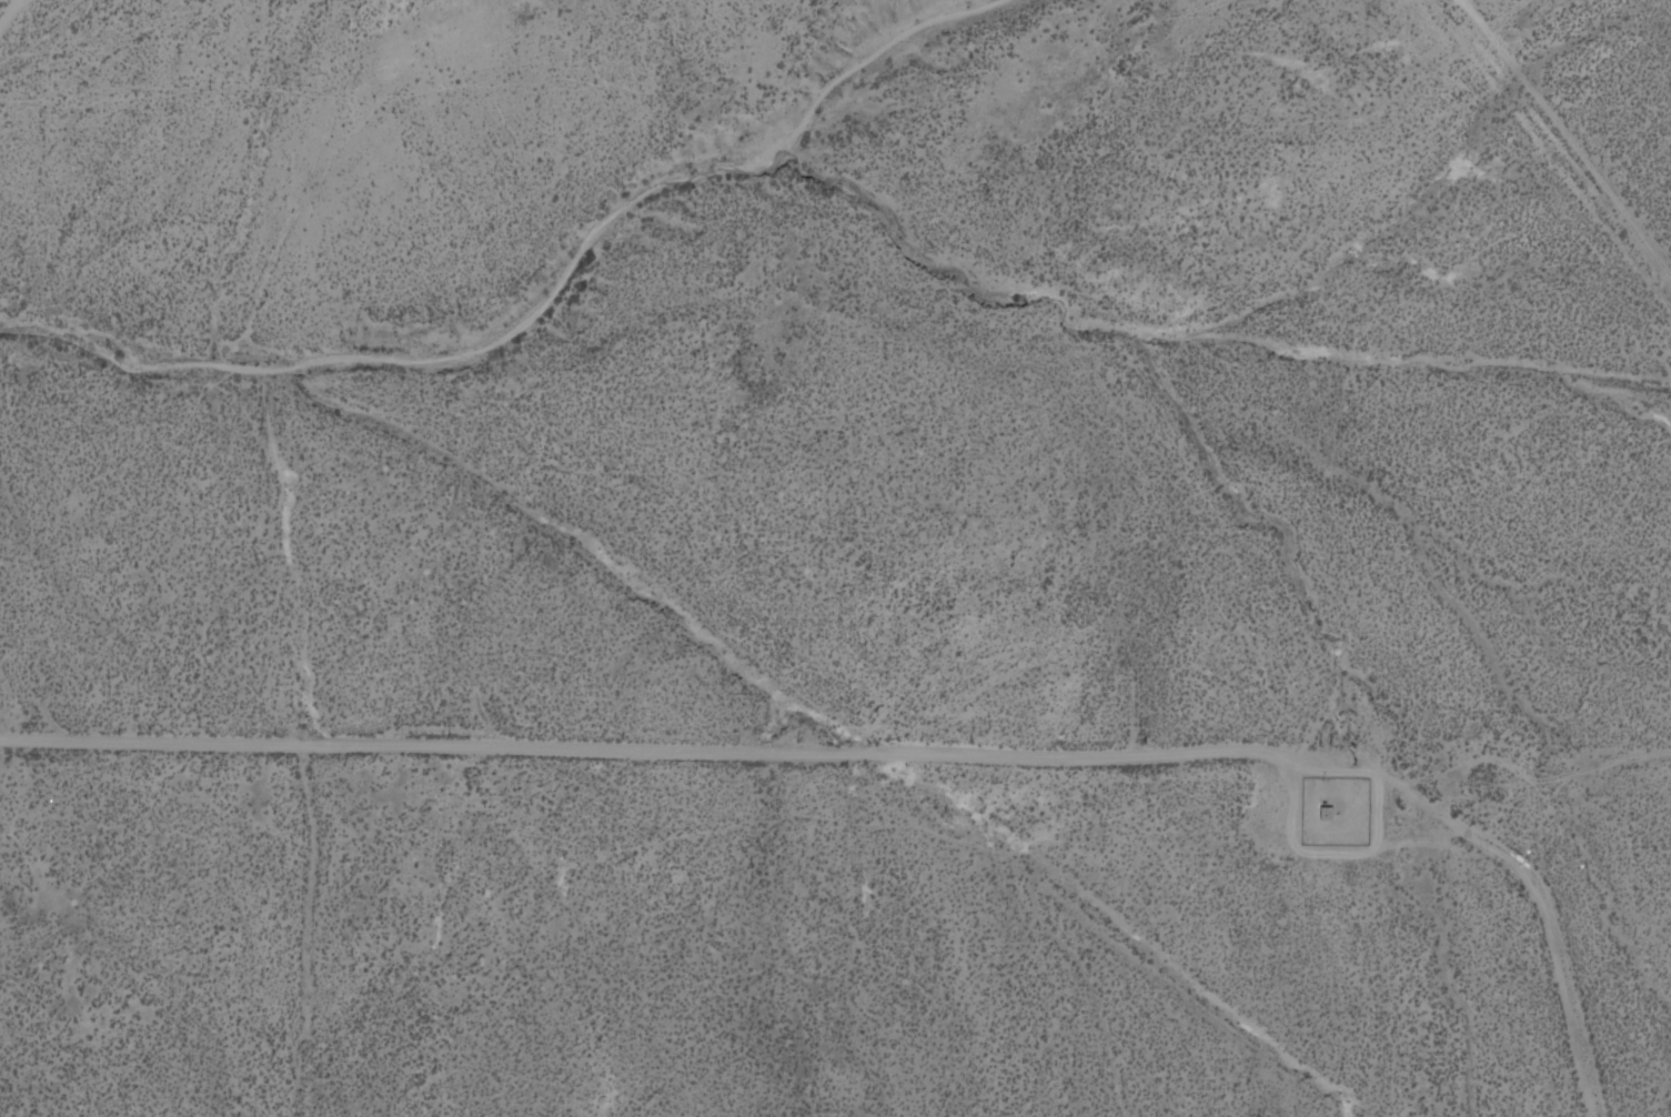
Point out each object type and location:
road: (21, 17)
road: (1566, 133)
road: (918, 747)

